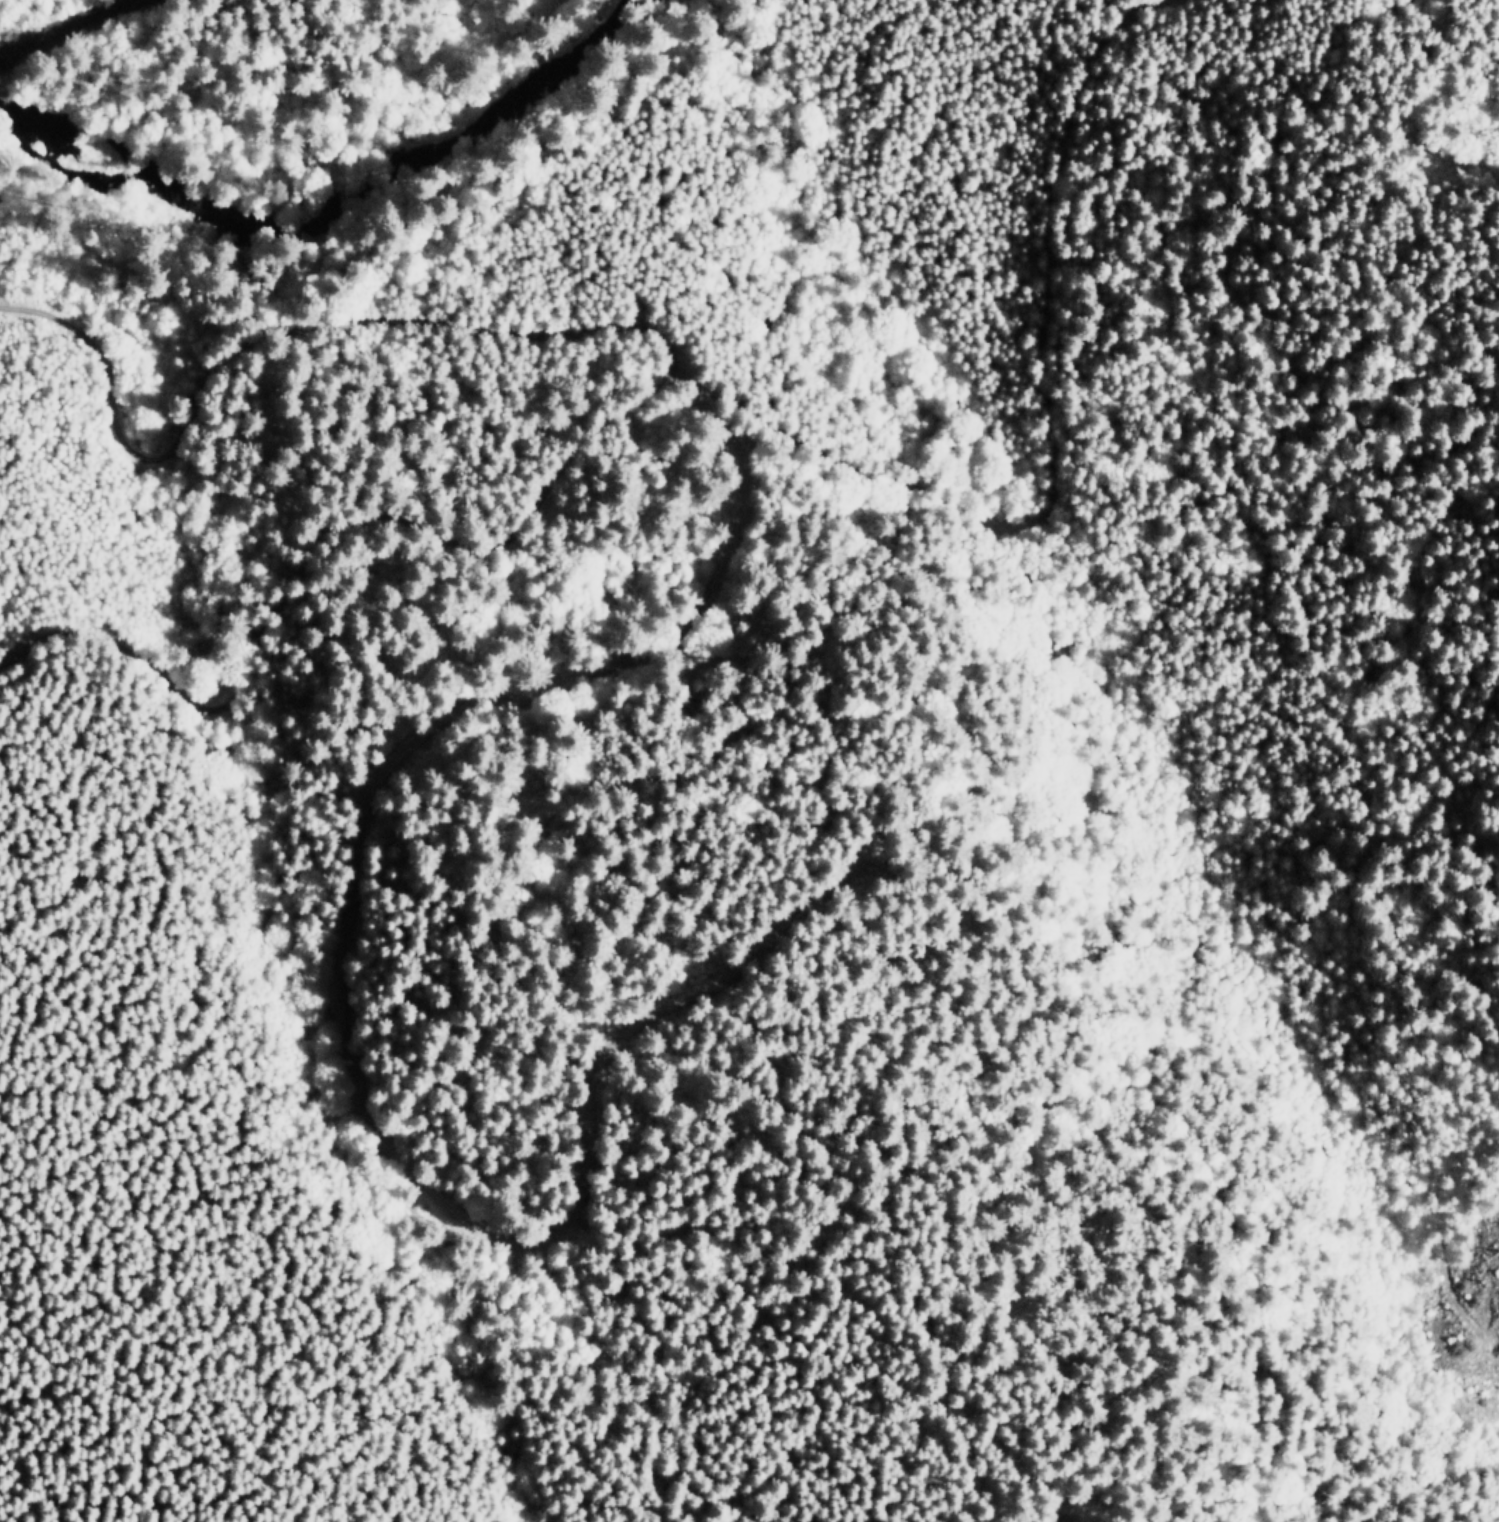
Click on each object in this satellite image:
railway: (81, 30)
river: (381, 167)
road: (259, 339)
road: (1039, 454)
road: (321, 565)

